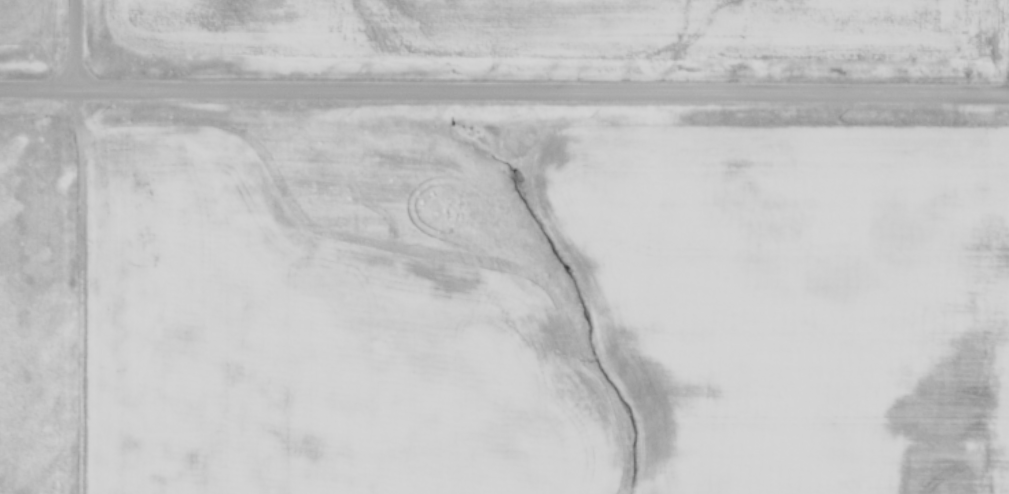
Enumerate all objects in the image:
road: (76, 43)
road: (504, 90)
road: (76, 290)

